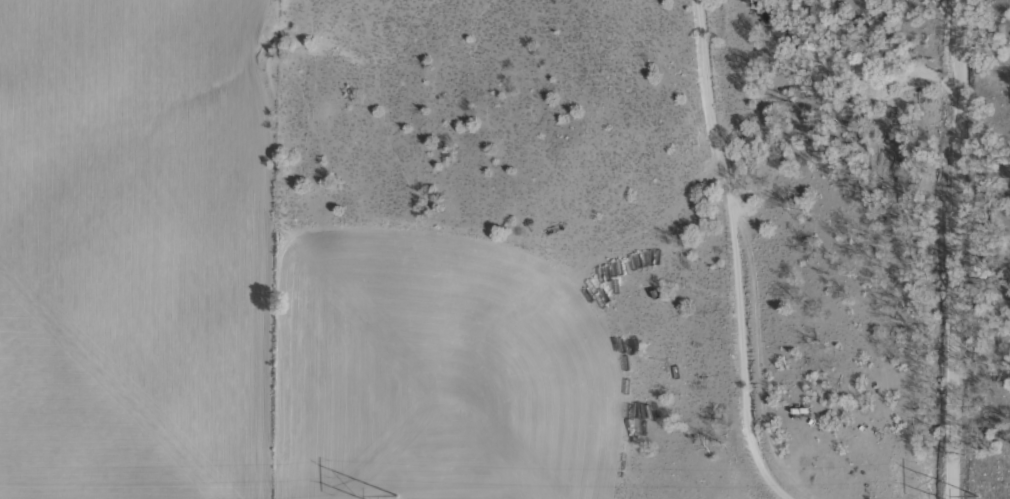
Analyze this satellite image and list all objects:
crop: (505, 249)
road: (958, 249)
road: (713, 252)

